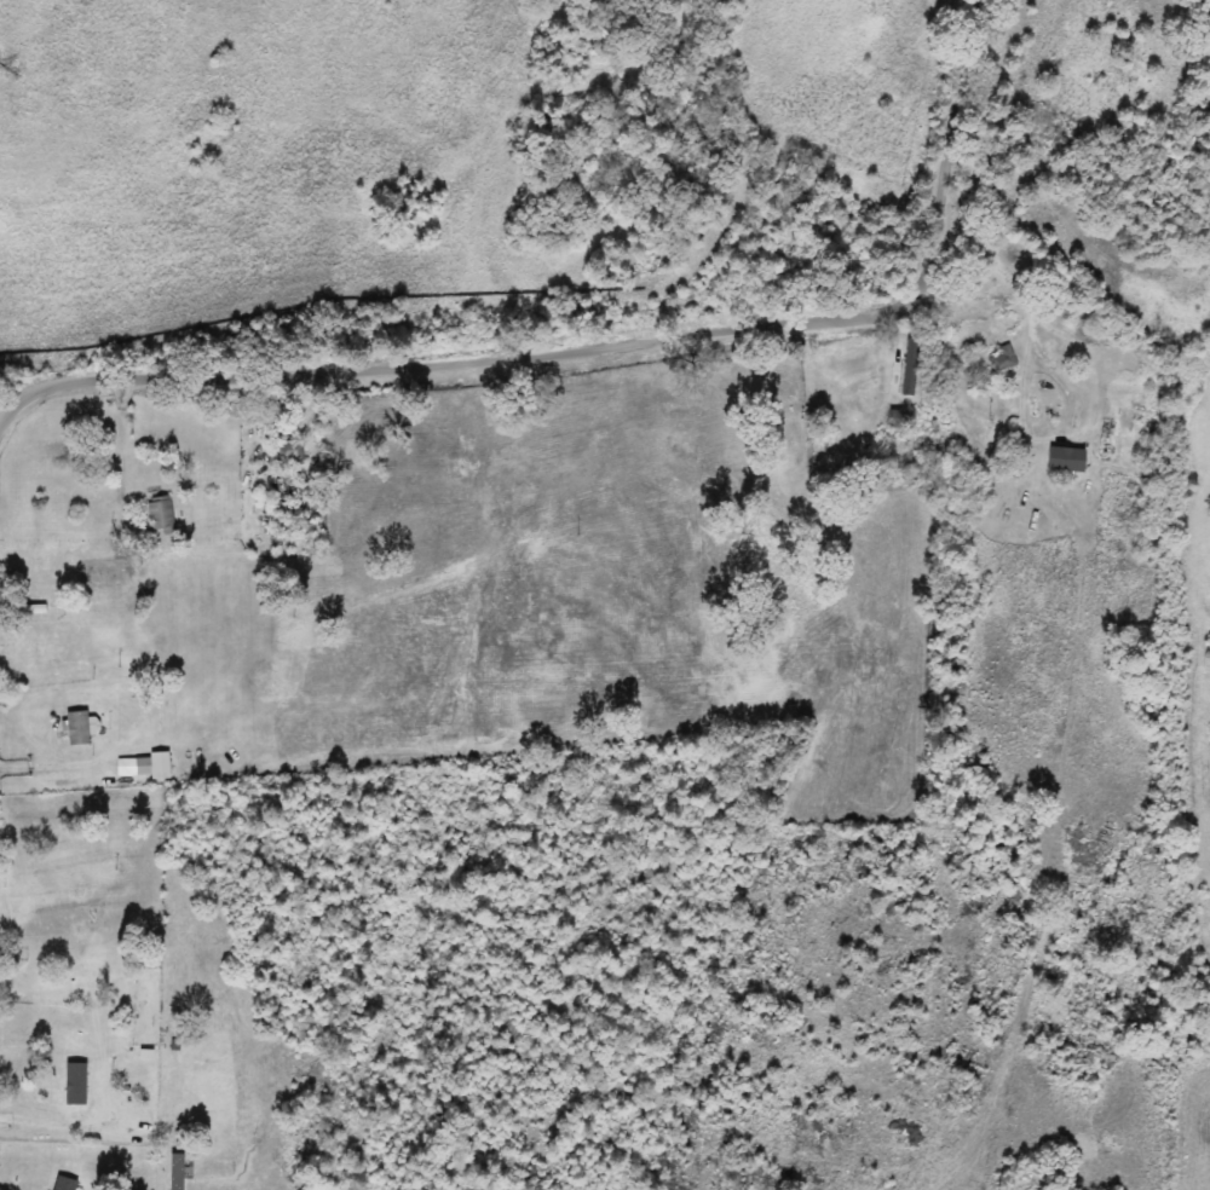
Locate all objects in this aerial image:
road: (672, 337)
building: (1003, 360)
building: (912, 369)
road: (51, 386)
building: (901, 420)
building: (288, 455)
building: (1065, 461)
building: (161, 514)
building: (103, 572)
building: (80, 728)
building: (145, 767)
building: (75, 1085)
building: (175, 1172)
building: (63, 1184)

